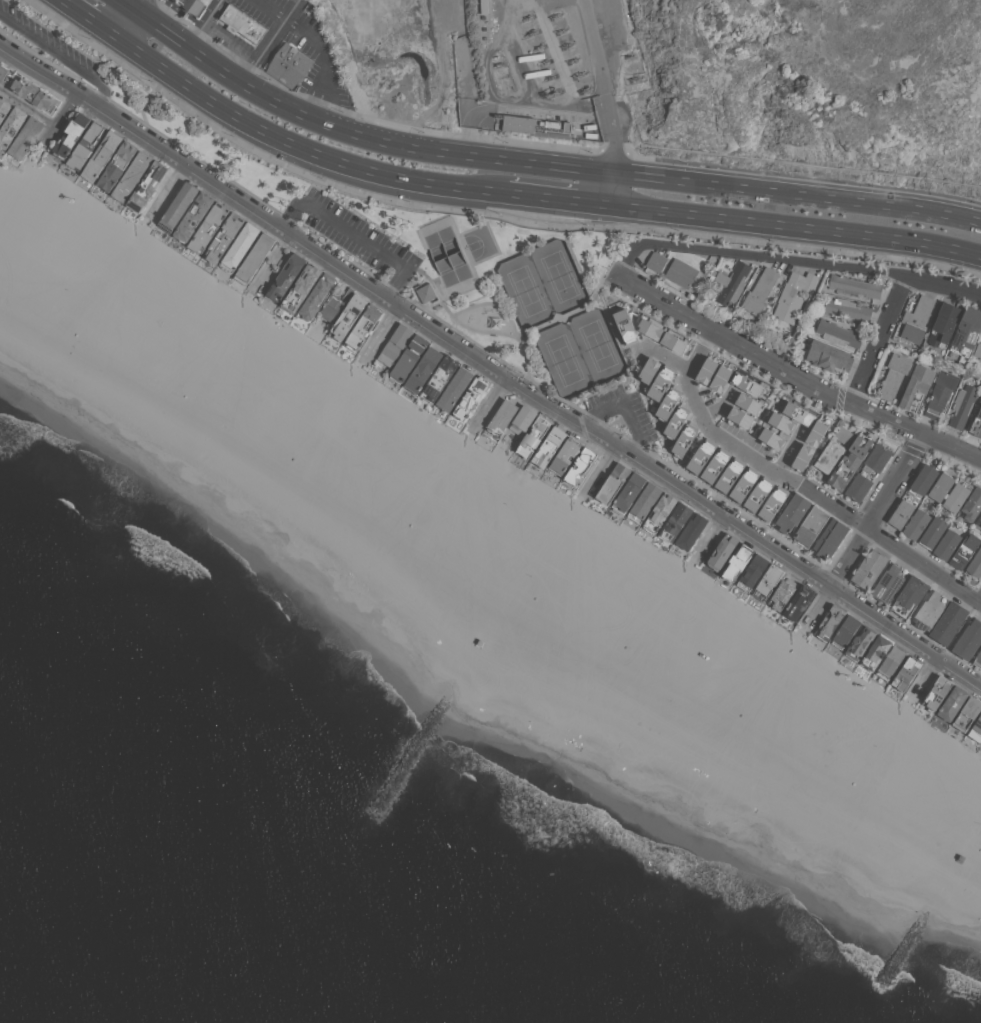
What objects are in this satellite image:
road: (130, 5)
road: (141, 5)
building: (195, 6)
parking lot: (259, 9)
road: (271, 9)
road: (162, 11)
petroleum well: (555, 15)
petroleum well: (527, 16)
road: (146, 17)
road: (91, 19)
road: (205, 23)
building: (243, 23)
road: (128, 24)
petroleum well: (559, 30)
petroleum well: (534, 32)
parking lot: (231, 37)
road: (270, 41)
parking lot: (48, 42)
petroleum well: (539, 44)
petroleum well: (565, 45)
road: (510, 52)
petroleum well: (626, 54)
road: (57, 55)
road: (256, 55)
road: (325, 60)
petroleum well: (572, 61)
petroleum well: (545, 62)
petroleum well: (498, 64)
building: (290, 65)
road: (486, 69)
building: (2, 71)
petroleum well: (577, 74)
road: (72, 75)
petroleum well: (502, 75)
petroleum well: (549, 75)
petroleum well: (634, 77)
road: (603, 84)
petroleum well: (508, 88)
petroleum well: (583, 91)
petroleum well: (555, 92)
building: (33, 94)
road: (519, 104)
road: (29, 107)
building: (3, 108)
road: (62, 119)
building: (517, 123)
building: (11, 126)
building: (70, 135)
building: (25, 137)
road: (370, 138)
building: (85, 145)
road: (300, 146)
building: (100, 156)
building: (116, 165)
road: (226, 172)
building: (131, 176)
building: (146, 185)
road: (613, 187)
road: (170, 191)
road: (798, 193)
road: (559, 198)
building: (177, 205)
road: (479, 212)
road: (281, 213)
building: (193, 216)
road: (453, 224)
building: (208, 226)
road: (796, 227)
road: (354, 234)
parking lot: (354, 236)
building: (223, 237)
road: (494, 237)
park: (480, 243)
building: (238, 247)
park: (426, 253)
building: (253, 258)
road: (792, 260)
building: (655, 261)
road: (276, 264)
building: (452, 268)
building: (680, 273)
park: (560, 275)
building: (285, 277)
building: (730, 284)
building: (852, 286)
building: (300, 288)
park: (525, 290)
building: (759, 291)
building: (426, 293)
building: (316, 296)
building: (792, 296)
road: (480, 303)
road: (442, 304)
building: (330, 308)
building: (846, 309)
road: (577, 310)
building: (347, 317)
building: (916, 319)
road: (550, 321)
road: (546, 324)
building: (624, 325)
building: (942, 325)
building: (362, 327)
building: (649, 328)
building: (966, 331)
road: (384, 333)
building: (837, 333)
road: (879, 341)
building: (673, 342)
building: (395, 344)
park: (598, 344)
road: (479, 346)
building: (977, 352)
building: (828, 356)
building: (408, 358)
park: (564, 359)
road: (489, 367)
building: (706, 369)
building: (422, 370)
building: (648, 371)
road: (792, 374)
building: (893, 375)
building: (720, 377)
building: (439, 378)
building: (660, 382)
building: (746, 384)
building: (916, 388)
building: (454, 389)
building: (940, 393)
building: (469, 398)
building: (667, 403)
building: (748, 403)
road: (491, 406)
building: (962, 406)
road: (626, 409)
parking lot: (624, 412)
building: (797, 413)
building: (501, 417)
building: (740, 417)
building: (522, 419)
building: (780, 421)
building: (976, 421)
building: (675, 422)
building: (816, 432)
building: (770, 438)
building: (683, 440)
building: (547, 446)
building: (833, 449)
building: (564, 455)
building: (700, 456)
building: (801, 457)
building: (849, 461)
building: (579, 465)
building: (715, 465)
building: (867, 472)
road: (599, 475)
building: (729, 475)
building: (922, 479)
building: (612, 483)
building: (743, 484)
road: (800, 484)
building: (940, 486)
building: (628, 492)
building: (757, 494)
building: (955, 497)
building: (643, 503)
building: (772, 503)
building: (972, 504)
building: (791, 512)
building: (659, 513)
building: (900, 514)
building: (978, 519)
building: (674, 522)
building: (915, 524)
building: (809, 526)
building: (690, 531)
building: (932, 532)
road: (865, 533)
building: (829, 538)
road: (712, 539)
building: (946, 544)
building: (964, 551)
building: (720, 552)
building: (737, 561)
building: (974, 564)
building: (868, 569)
building: (751, 572)
building: (766, 582)
building: (888, 583)
building: (781, 594)
building: (909, 596)
road: (979, 600)
building: (797, 602)
building: (929, 611)
building: (948, 622)
building: (828, 623)
building: (844, 631)
road: (959, 632)
building: (968, 639)
building: (859, 642)
building: (874, 652)
building: (977, 659)
building: (889, 663)
building: (905, 673)
road: (925, 678)
building: (935, 693)
building: (951, 703)
building: (966, 713)

